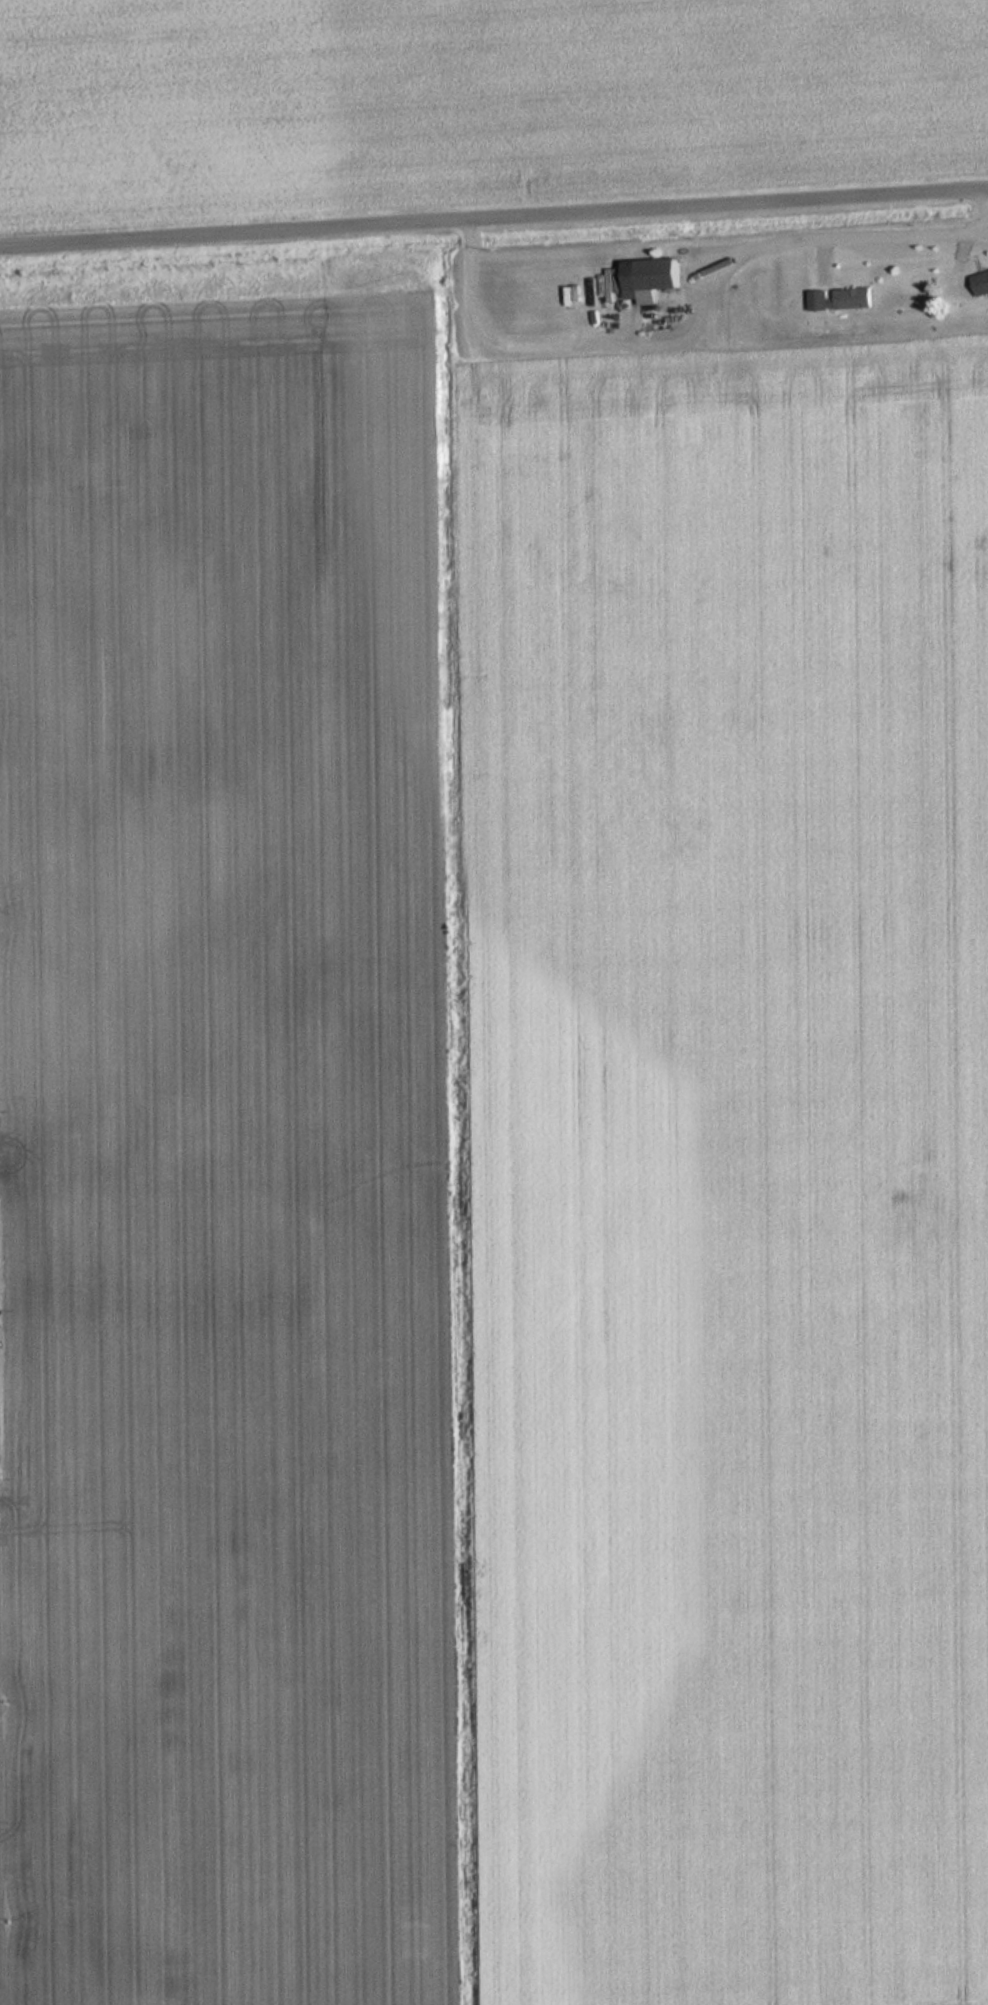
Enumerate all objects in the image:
road: (494, 217)
building: (661, 278)
building: (549, 282)
building: (982, 284)
building: (857, 298)
building: (822, 300)

